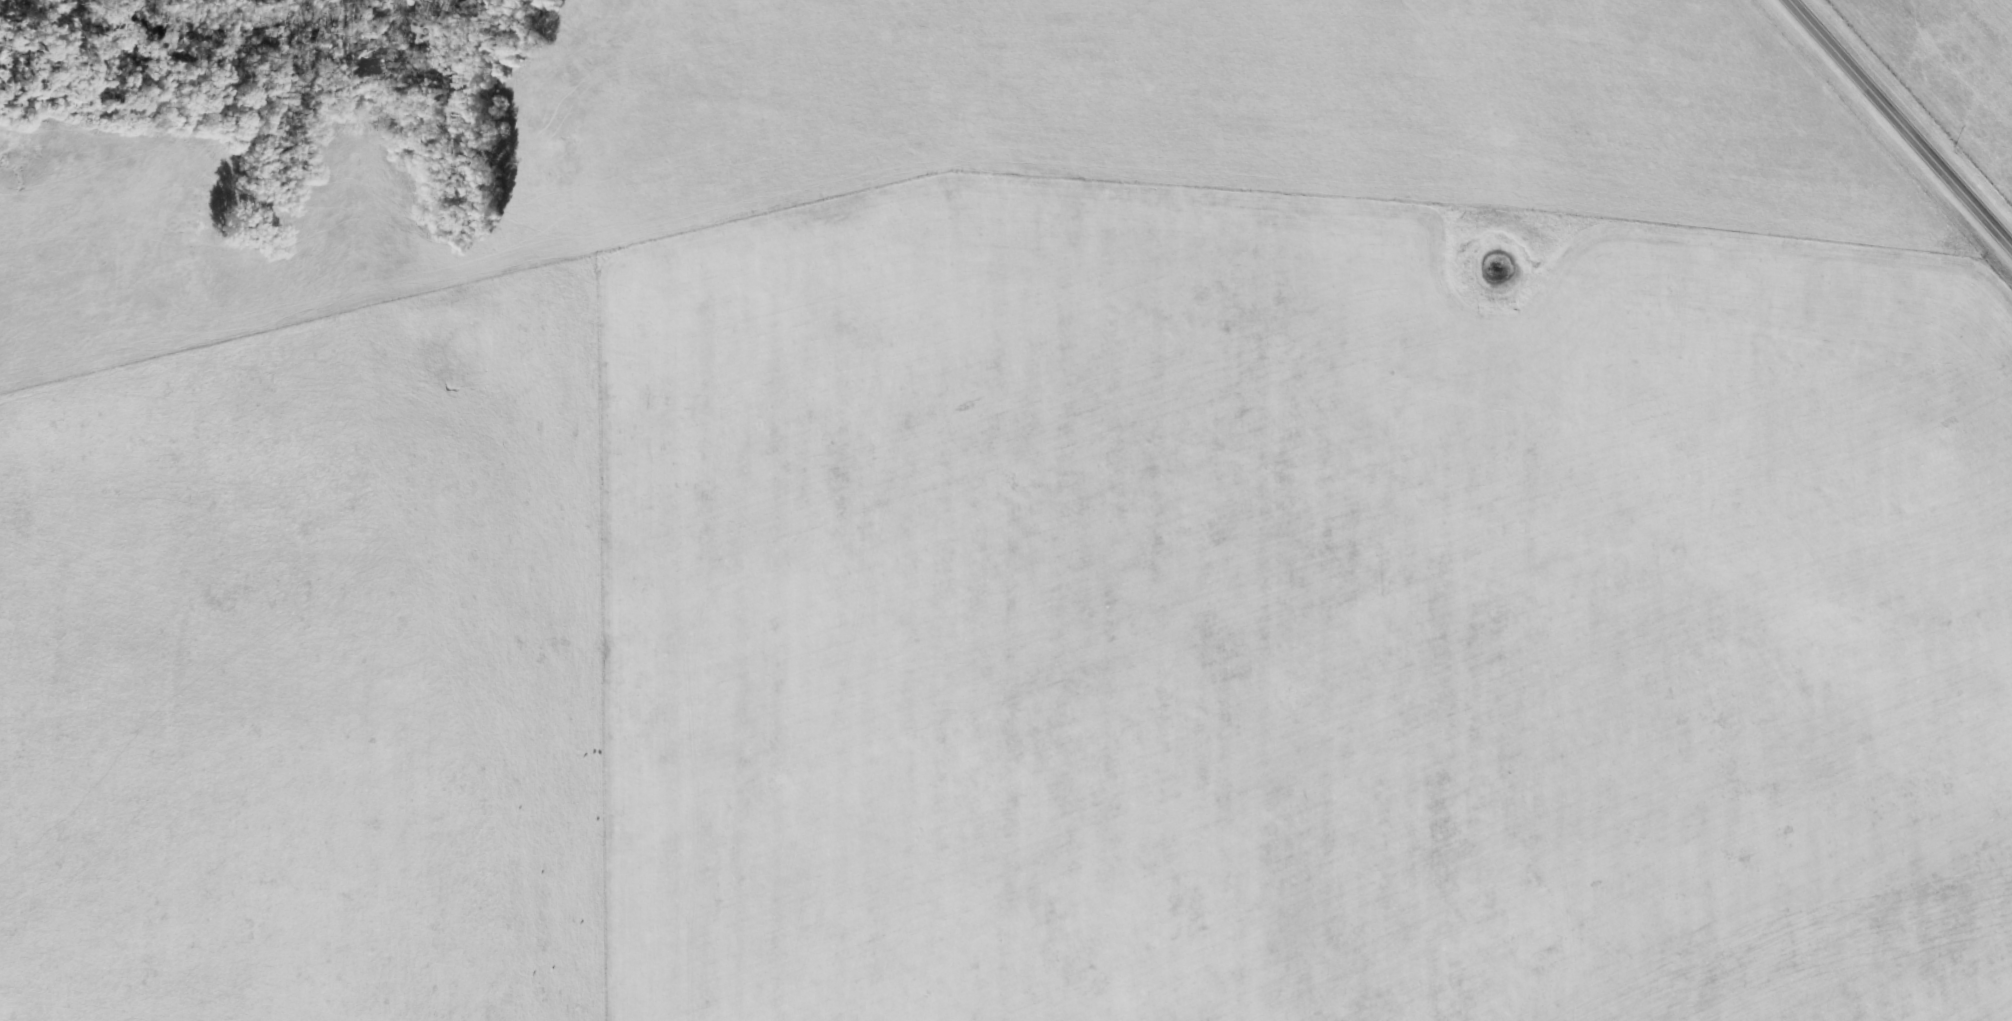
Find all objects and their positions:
road: (1900, 123)

